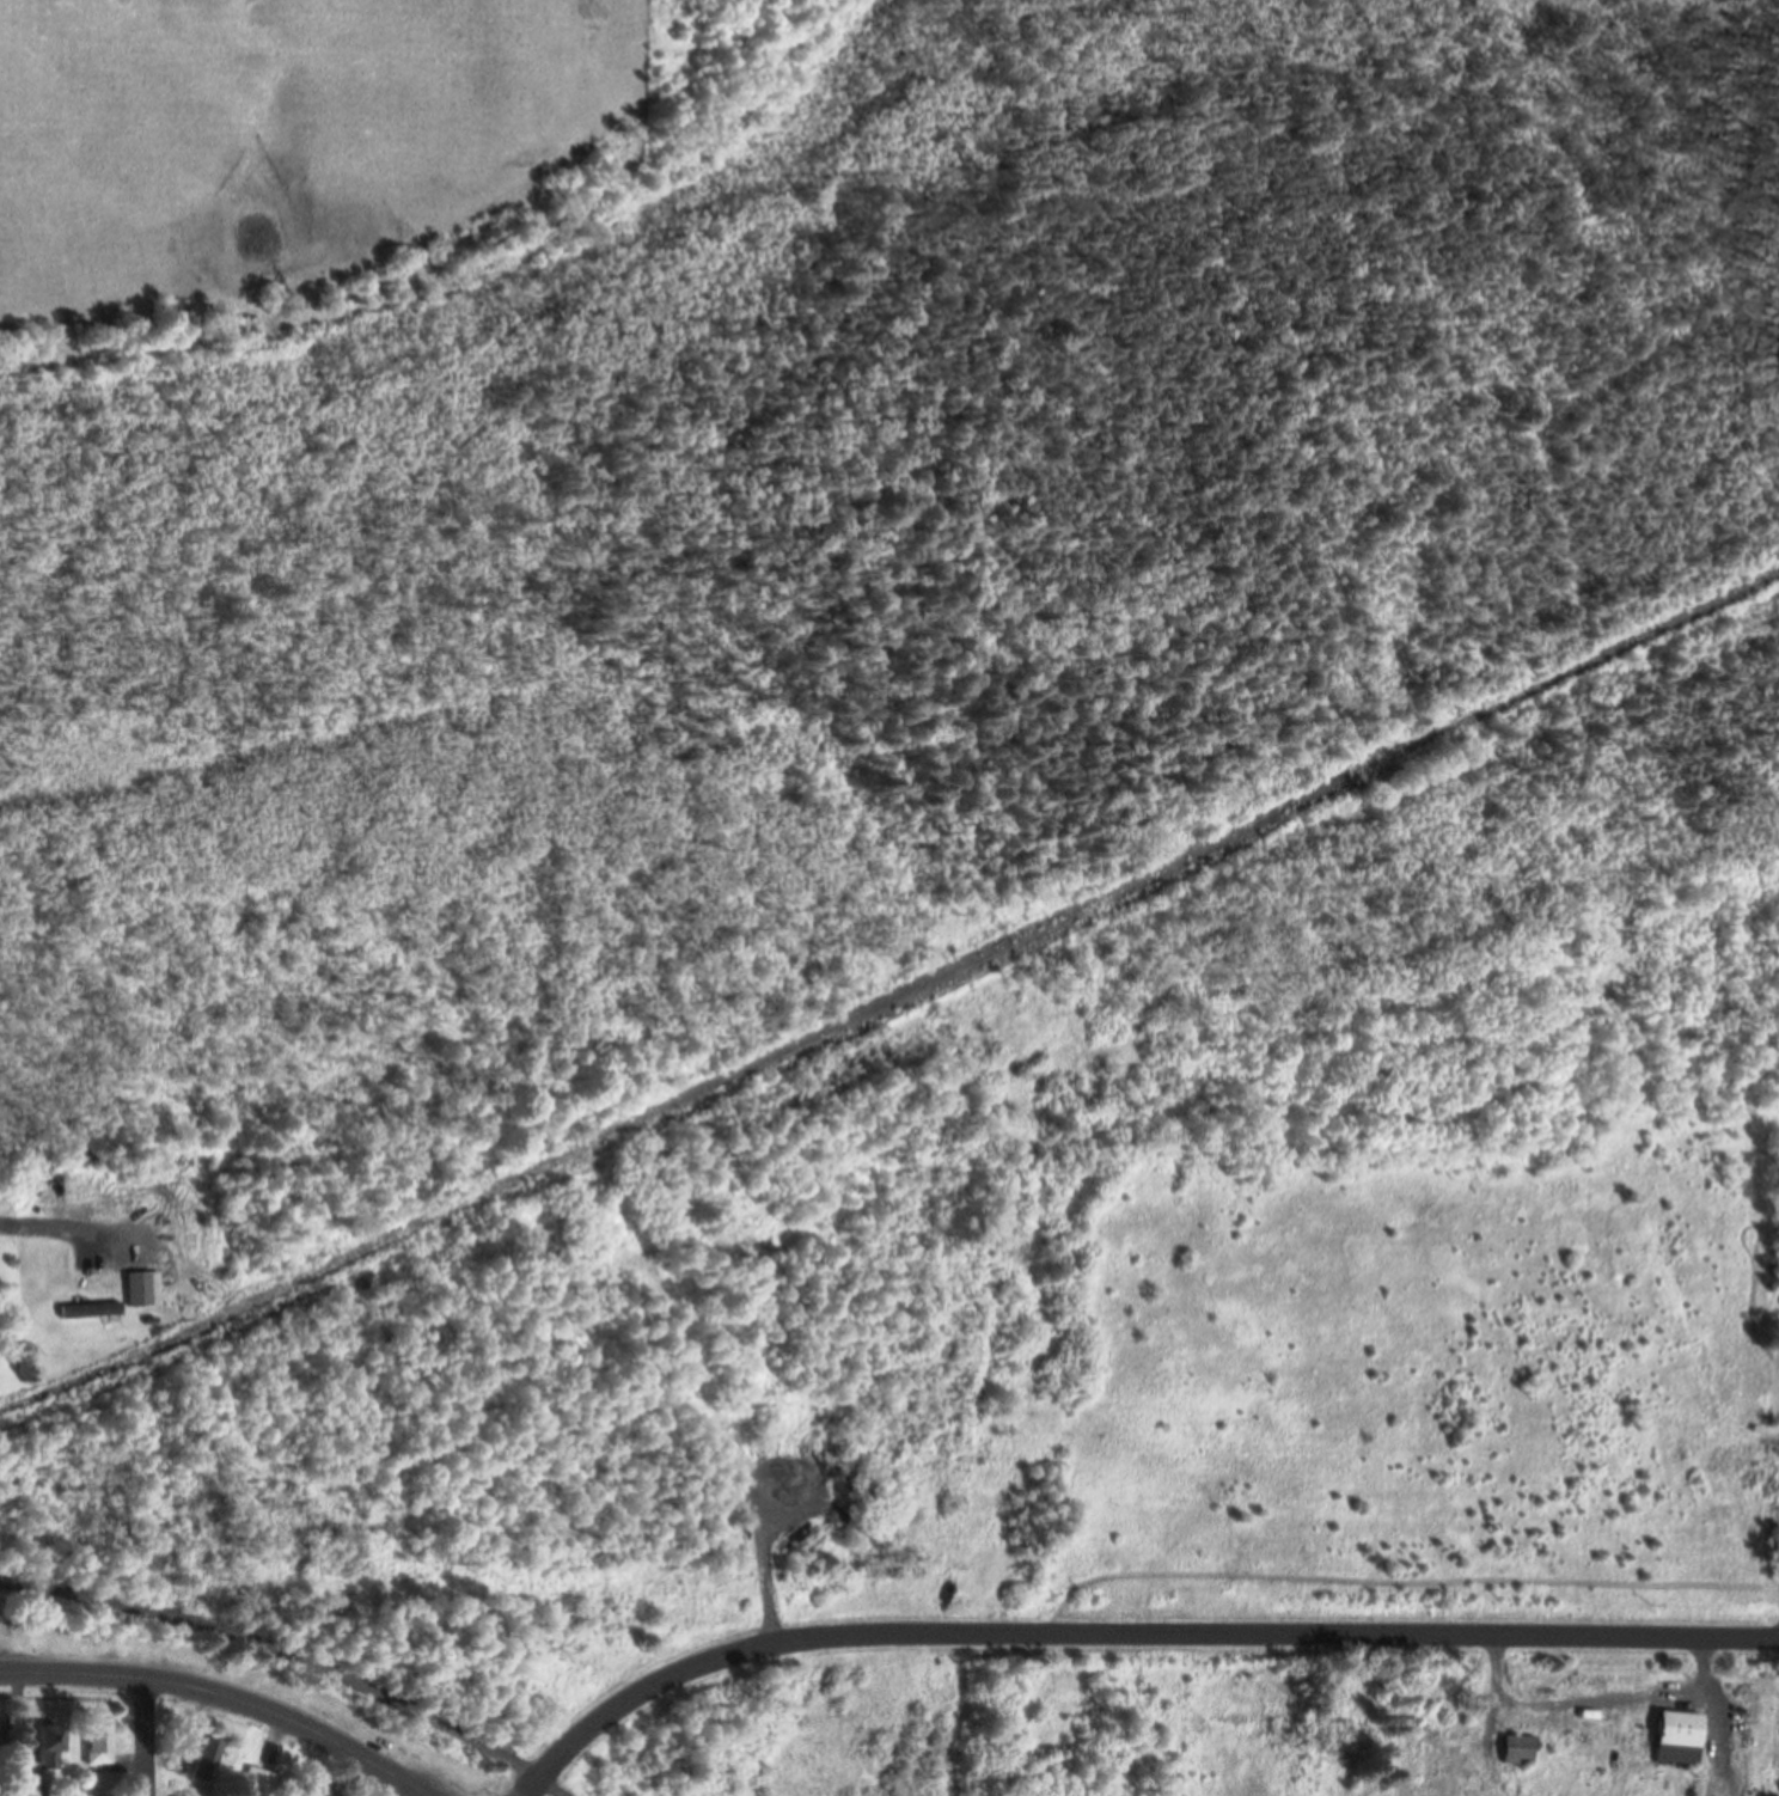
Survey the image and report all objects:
crop: (286, 140)
railway: (892, 998)
railway: (681, 1113)
crop: (1775, 1151)
road: (43, 1228)
building: (146, 1291)
building: (93, 1313)
road: (1129, 1636)
road: (292, 1657)
road: (222, 1697)
road: (73, 1700)
road: (146, 1737)
building: (100, 1741)
building: (1681, 1741)
building: (1416, 1748)
building: (51, 1749)
building: (1522, 1753)
building: (207, 1761)
building: (259, 1784)

